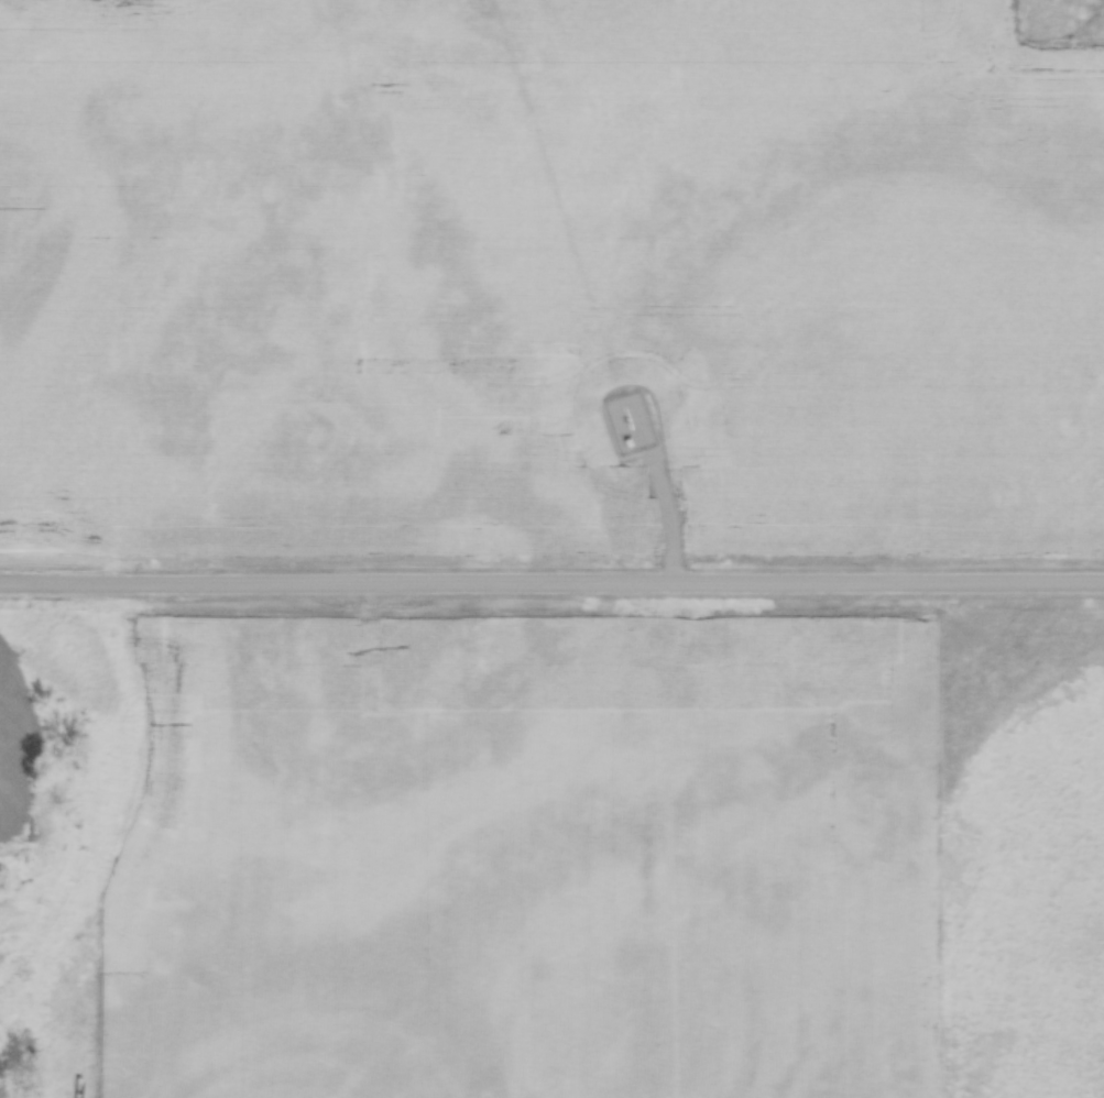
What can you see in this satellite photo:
road: (551, 588)

